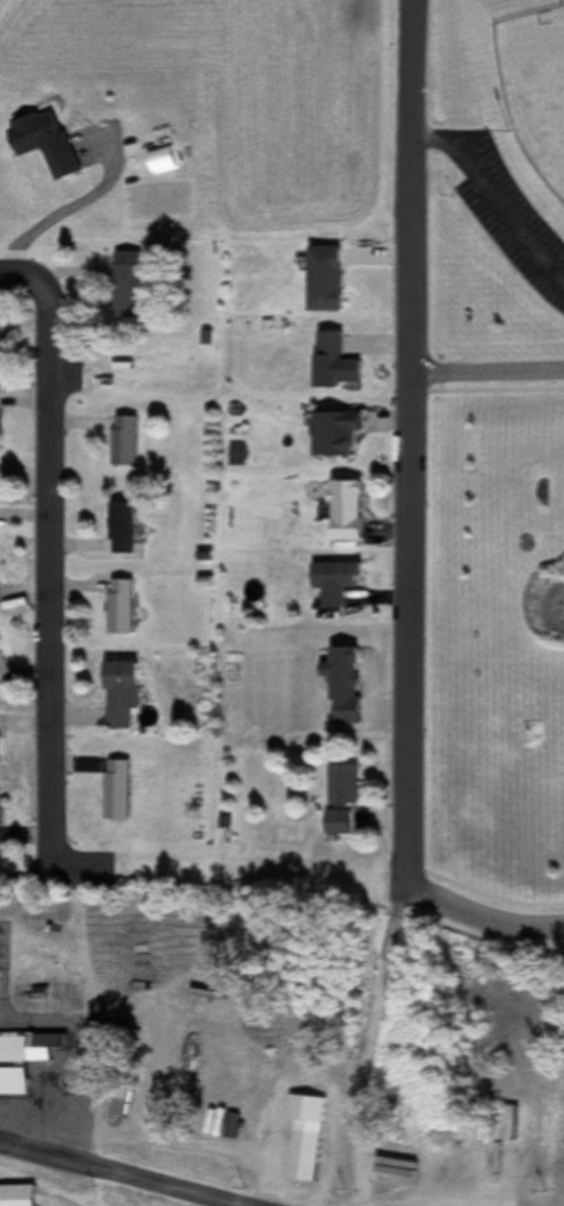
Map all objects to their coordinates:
building: (53, 144)
building: (164, 161)
road: (490, 205)
road: (23, 277)
building: (132, 281)
building: (332, 281)
building: (339, 363)
road: (487, 369)
building: (1, 418)
building: (340, 435)
building: (128, 442)
road: (410, 444)
building: (2, 489)
building: (352, 512)
building: (127, 529)
building: (340, 583)
road: (47, 595)
building: (2, 596)
building: (126, 608)
building: (1, 650)
building: (127, 695)
building: (1, 750)
building: (121, 792)
building: (347, 801)
building: (1, 821)
road: (483, 915)
building: (0, 953)
building: (17, 1066)
building: (516, 1117)
building: (310, 1136)
road: (117, 1175)
building: (22, 1195)

